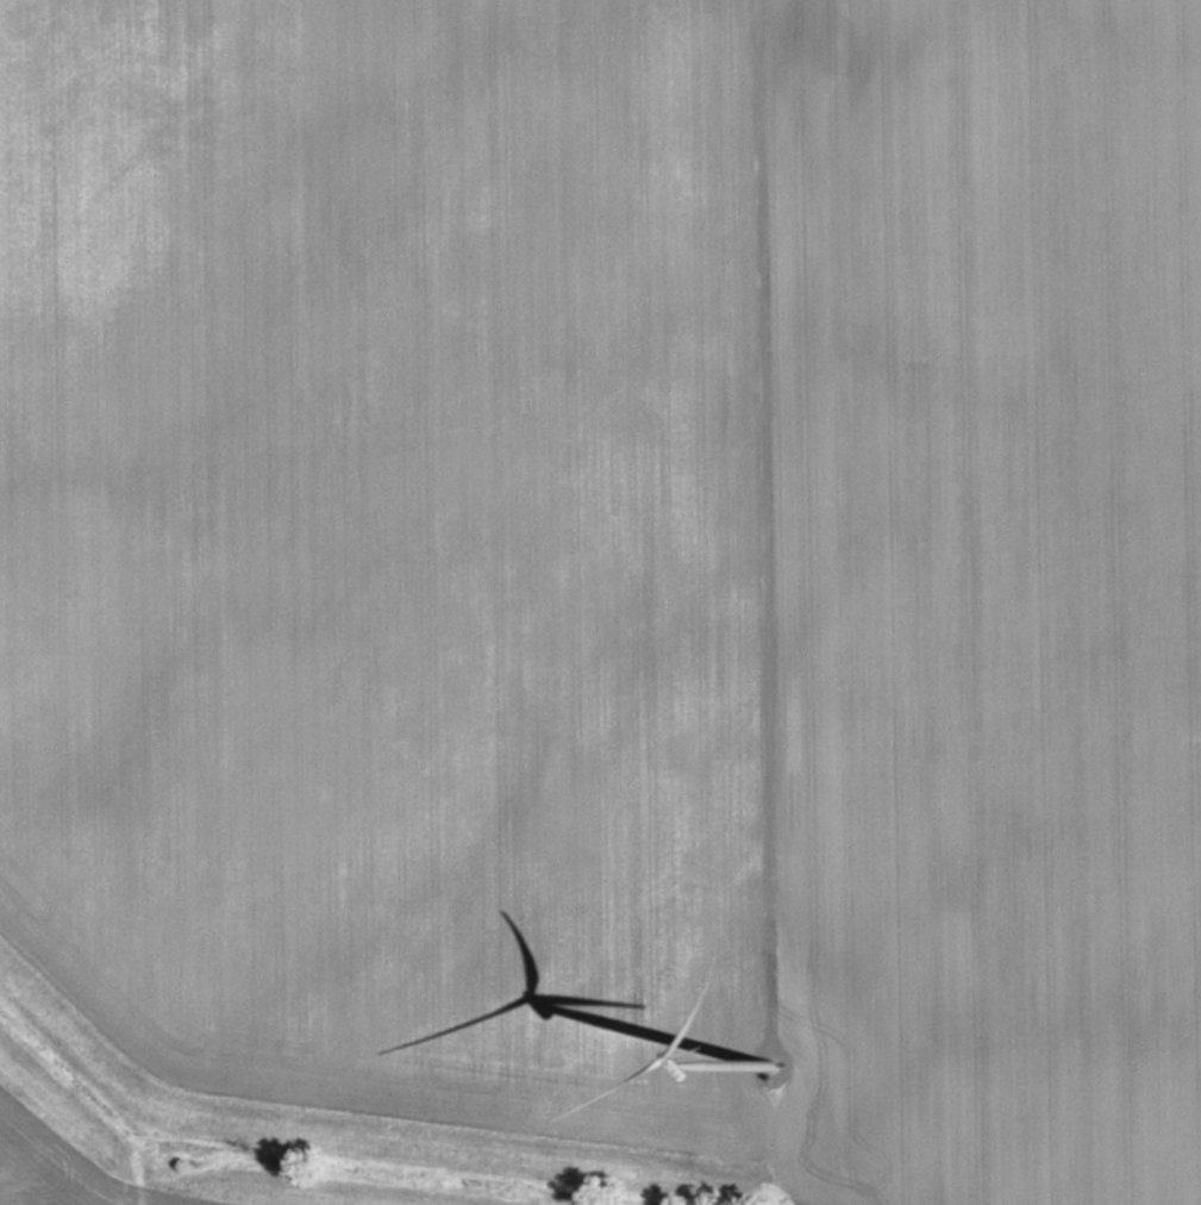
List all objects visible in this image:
wind turbine: (770, 1068)

